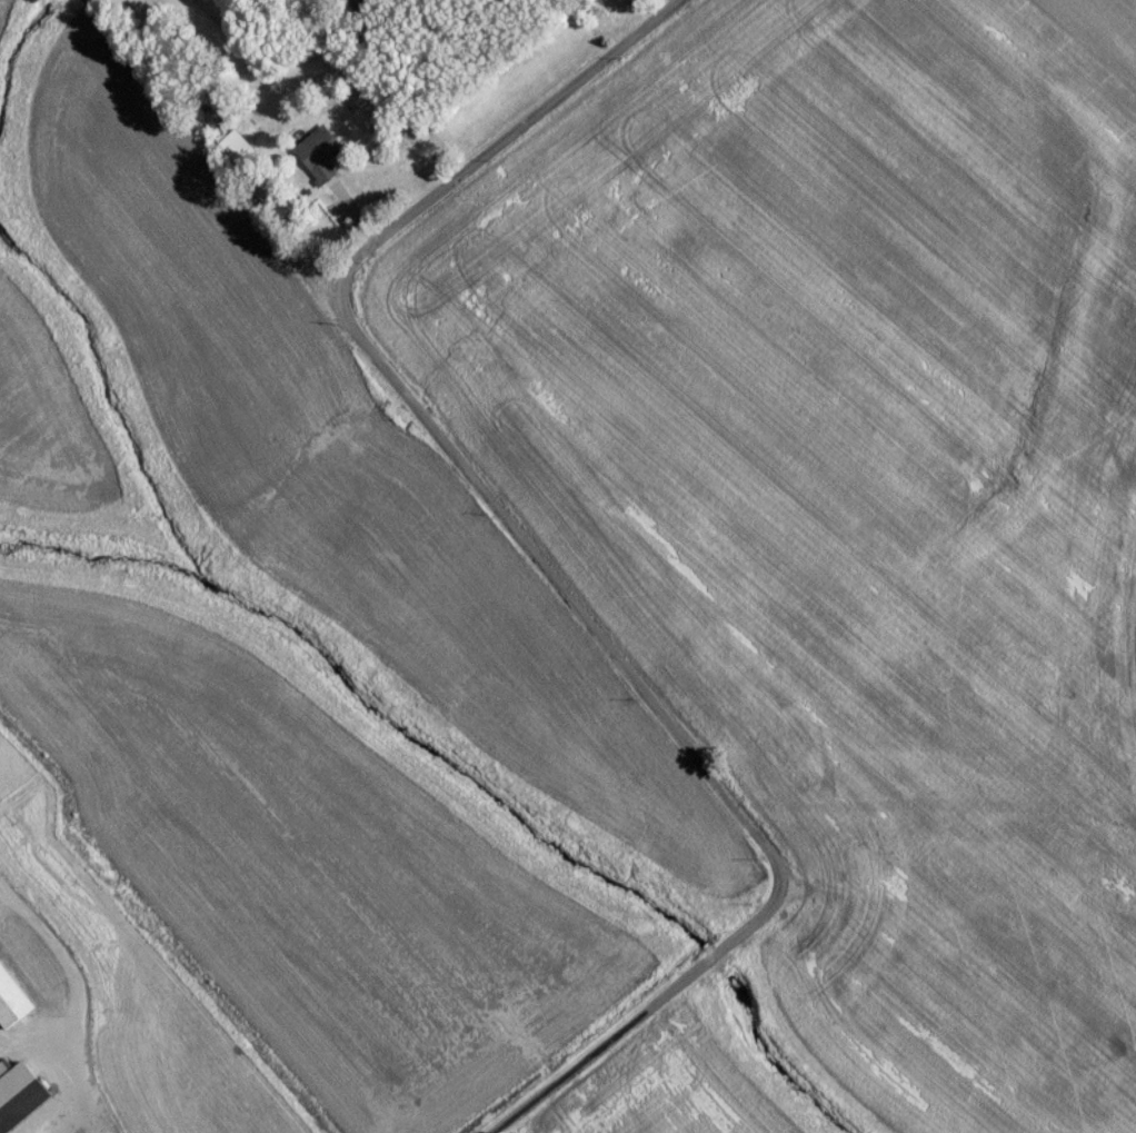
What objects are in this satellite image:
building: (229, 156)
building: (317, 166)
road: (532, 564)
building: (12, 1007)
building: (23, 1099)

